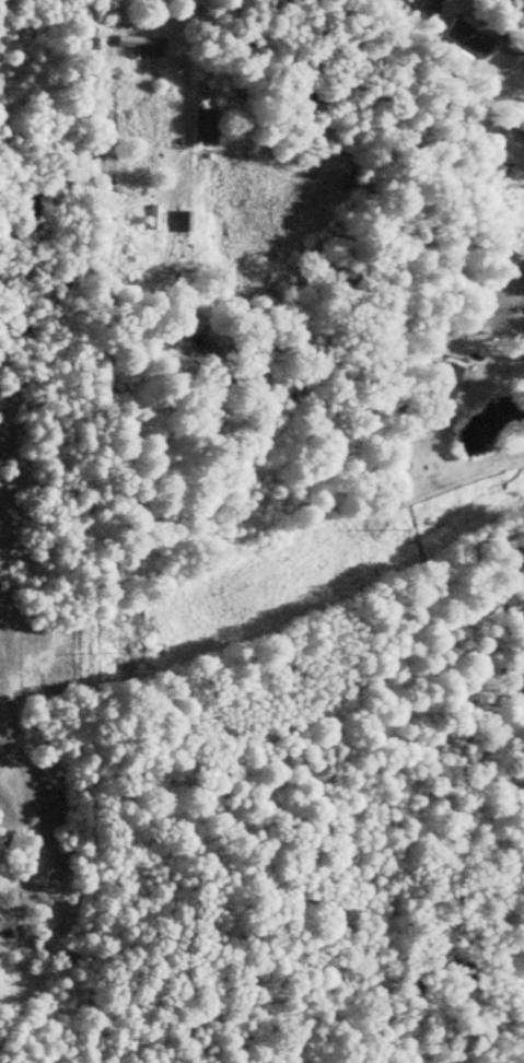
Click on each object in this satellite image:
building: (418, 9)
building: (138, 42)
building: (520, 119)
building: (202, 127)
building: (152, 217)
building: (182, 220)
road: (517, 338)
building: (442, 384)

